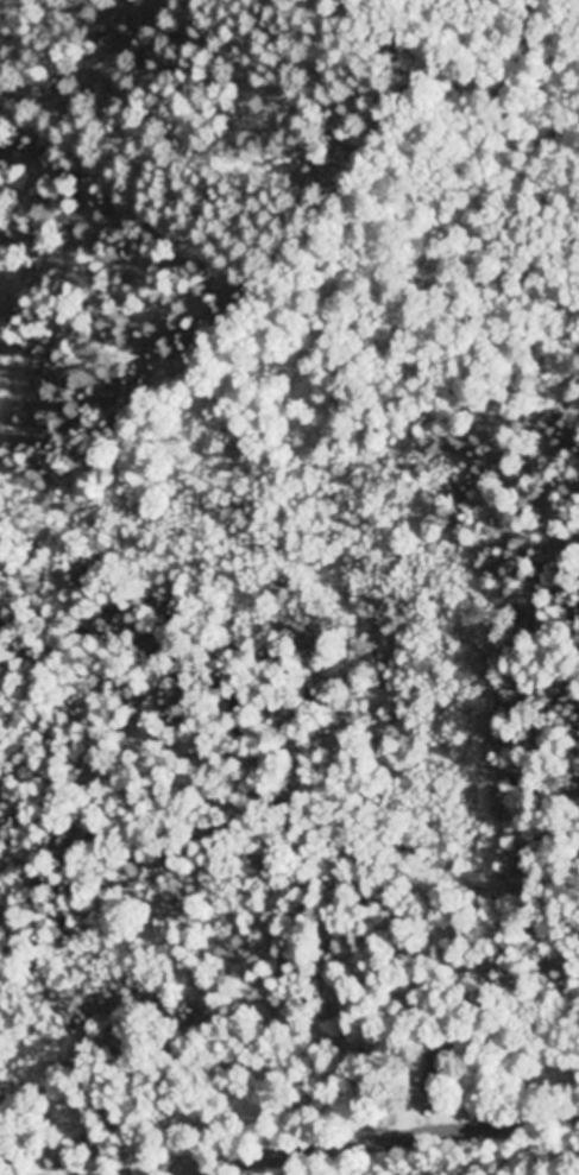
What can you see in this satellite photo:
road: (392, 1133)
road: (158, 1168)
road: (212, 1168)

